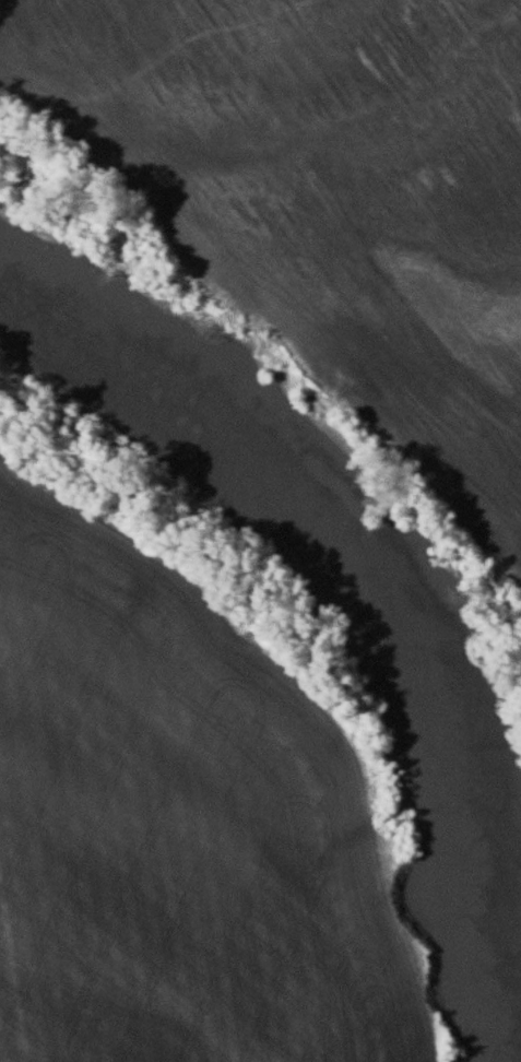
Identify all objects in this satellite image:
river: (336, 554)

